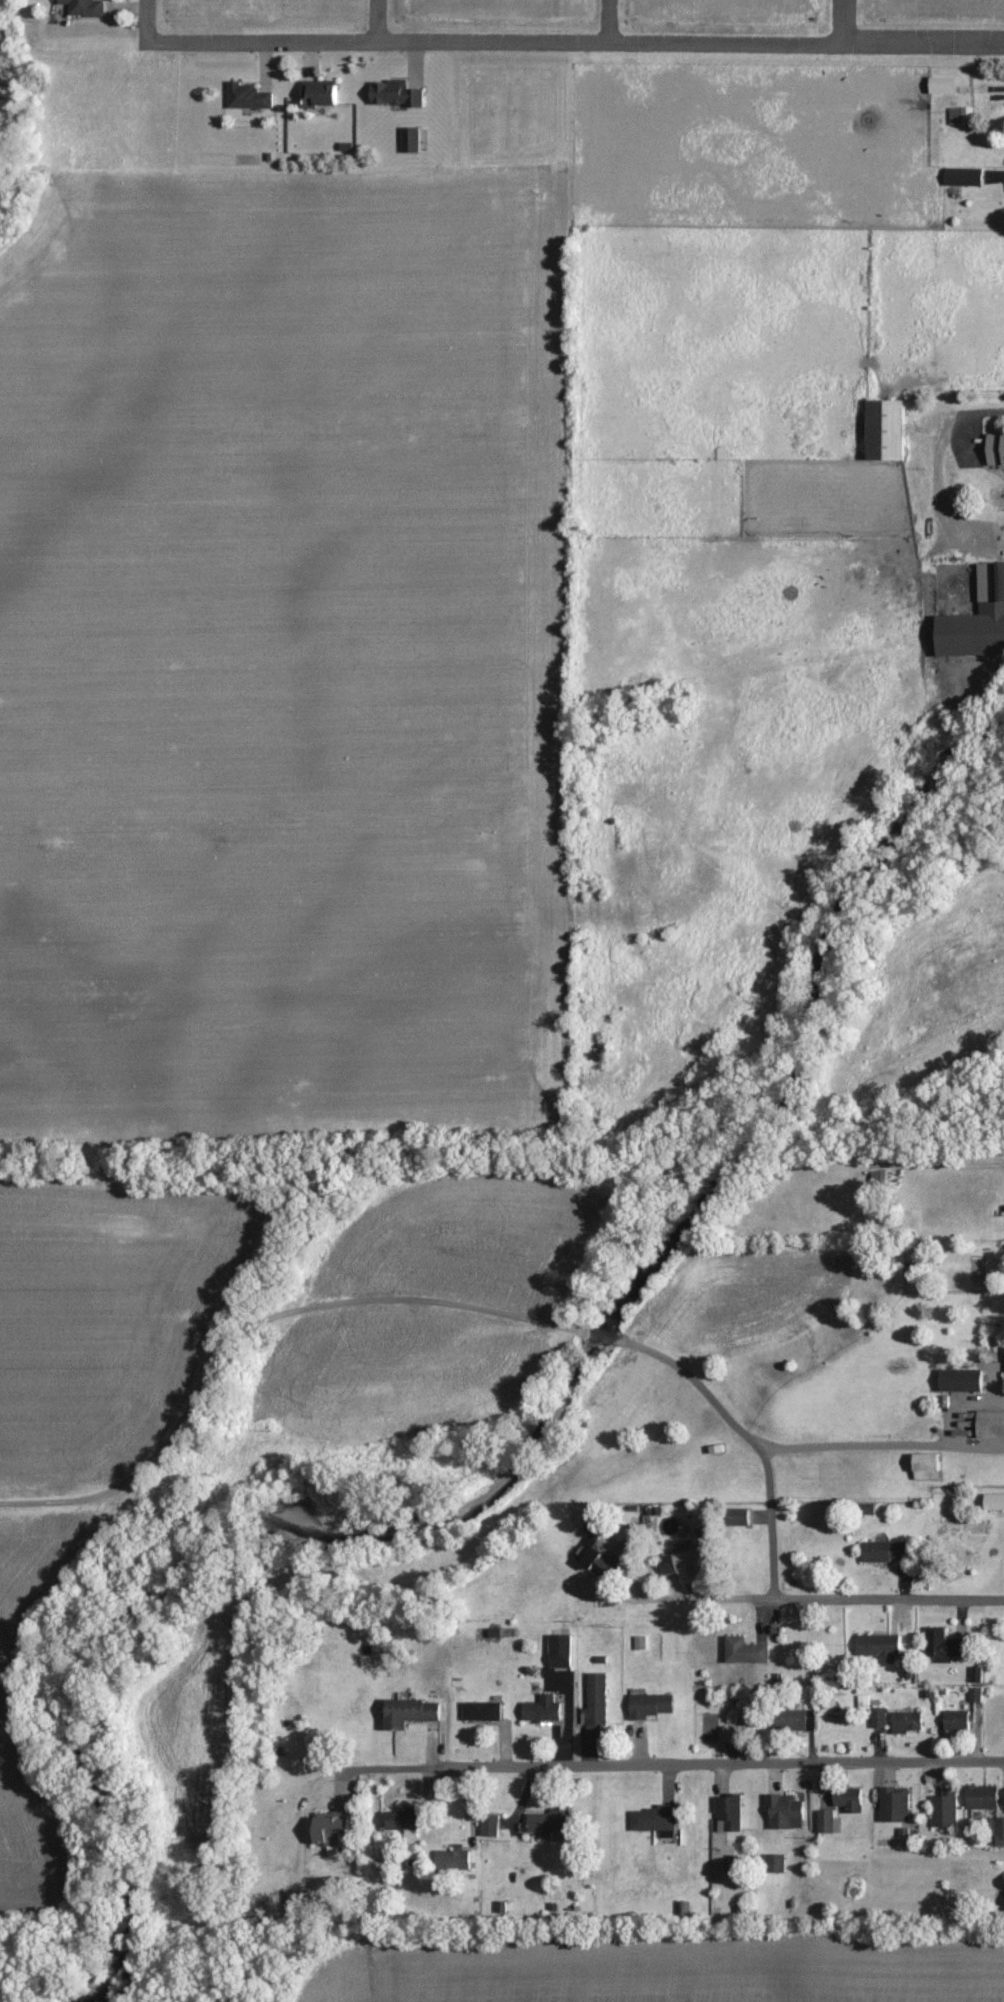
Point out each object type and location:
building: (86, 7)
road: (142, 20)
road: (375, 21)
road: (607, 21)
road: (842, 22)
road: (572, 42)
building: (945, 85)
building: (396, 94)
building: (323, 95)
building: (249, 96)
building: (962, 116)
building: (411, 139)
building: (964, 177)
building: (888, 430)
building: (996, 449)
road: (936, 454)
building: (978, 620)
road: (246, 1331)
road: (596, 1336)
building: (962, 1381)
building: (992, 1425)
road: (752, 1442)
road: (880, 1446)
building: (928, 1468)
building: (995, 1503)
building: (740, 1518)
building: (596, 1531)
building: (886, 1552)
building: (686, 1563)
road: (811, 1600)
building: (640, 1643)
building: (944, 1646)
building: (880, 1648)
building: (561, 1652)
building: (747, 1652)
building: (975, 1695)
building: (596, 1701)
building: (651, 1705)
building: (543, 1709)
building: (482, 1711)
building: (411, 1712)
building: (879, 1717)
building: (796, 1719)
building: (908, 1721)
building: (958, 1721)
building: (732, 1734)
road: (685, 1766)
building: (983, 1797)
building: (850, 1799)
building: (896, 1804)
building: (945, 1808)
building: (785, 1811)
building: (730, 1813)
building: (655, 1818)
building: (405, 1821)
building: (551, 1822)
building: (828, 1822)
building: (490, 1825)
building: (333, 1833)
building: (453, 1860)
building: (775, 1863)
building: (999, 1897)

